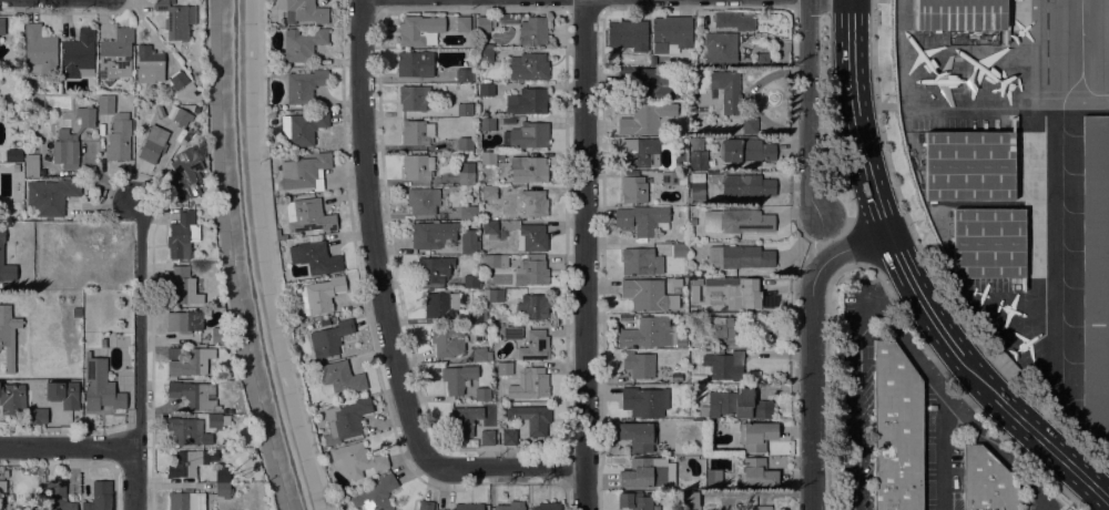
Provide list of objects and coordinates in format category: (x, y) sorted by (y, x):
building: (197, 1)
building: (303, 11)
building: (960, 14)
building: (175, 19)
building: (722, 19)
building: (486, 23)
building: (462, 24)
building: (2, 27)
building: (419, 30)
building: (532, 31)
building: (671, 33)
building: (628, 34)
airport taxiway: (1080, 35)
building: (301, 45)
building: (487, 47)
building: (720, 49)
building: (40, 51)
building: (115, 54)
building: (79, 55)
building: (485, 55)
road: (849, 58)
building: (415, 64)
building: (149, 65)
building: (528, 67)
building: (464, 75)
building: (177, 81)
building: (648, 83)
building: (304, 85)
building: (486, 90)
building: (726, 90)
building: (411, 99)
building: (527, 102)
building: (105, 104)
road: (807, 106)
building: (196, 110)
building: (465, 110)
building: (182, 118)
building: (647, 119)
building: (487, 124)
building: (750, 125)
building: (303, 127)
building: (416, 133)
building: (527, 136)
building: (119, 137)
building: (72, 140)
building: (153, 144)
building: (466, 144)
building: (746, 150)
building: (640, 153)
building: (12, 155)
building: (488, 159)
building: (699, 160)
building: (31, 166)
building: (968, 166)
building: (418, 167)
building: (528, 170)
building: (303, 171)
building: (186, 173)
building: (467, 174)
building: (673, 177)
building: (698, 177)
airport: (1018, 180)
building: (204, 184)
building: (746, 185)
building: (634, 190)
building: (489, 193)
building: (51, 196)
building: (423, 201)
building: (535, 203)
building: (468, 213)
building: (308, 216)
building: (642, 221)
building: (693, 221)
building: (746, 222)
building: (489, 227)
road: (370, 234)
building: (182, 235)
building: (281, 235)
building: (434, 235)
building: (533, 237)
building: (944, 242)
building: (988, 243)
building: (469, 244)
building: (680, 249)
building: (485, 253)
building: (1, 254)
road: (584, 254)
building: (536, 255)
building: (740, 256)
road: (276, 257)
building: (316, 258)
building: (496, 262)
building: (641, 262)
building: (703, 262)
road: (929, 264)
building: (434, 269)
building: (531, 272)
building: (1096, 277)
building: (471, 282)
building: (676, 283)
building: (185, 285)
building: (732, 294)
building: (321, 295)
building: (495, 296)
building: (648, 296)
building: (462, 300)
building: (441, 305)
building: (532, 307)
building: (698, 308)
building: (77, 312)
building: (476, 317)
building: (186, 320)
building: (326, 323)
building: (723, 330)
building: (499, 333)
road: (944, 333)
building: (650, 334)
building: (8, 335)
building: (218, 336)
building: (329, 339)
building: (448, 341)
building: (103, 343)
building: (533, 346)
road: (811, 348)
road: (856, 349)
building: (480, 355)
road: (139, 356)
building: (189, 361)
road: (940, 361)
building: (639, 365)
building: (724, 366)
building: (505, 369)
building: (339, 378)
building: (458, 378)
building: (699, 378)
building: (533, 384)
building: (101, 387)
building: (63, 394)
building: (195, 395)
building: (482, 395)
building: (644, 401)
building: (20, 404)
building: (736, 405)
building: (346, 419)
building: (531, 419)
building: (465, 420)
building: (217, 421)
building: (897, 430)
building: (189, 431)
building: (639, 436)
building: (756, 436)
building: (509, 437)
road: (944, 437)
building: (487, 438)
road: (67, 446)
building: (684, 459)
building: (358, 460)
road: (1004, 460)
building: (189, 462)
road: (506, 466)
building: (222, 475)
building: (642, 475)
building: (756, 475)
building: (713, 479)
building: (987, 481)
building: (2, 489)
building: (224, 491)
building: (376, 494)
building: (58, 497)
building: (99, 497)
building: (691, 500)
building: (186, 501)
building: (634, 501)
building: (426, 506)
building: (468, 507)
building: (511, 507)
building: (547, 507)
building: (761, 508)

